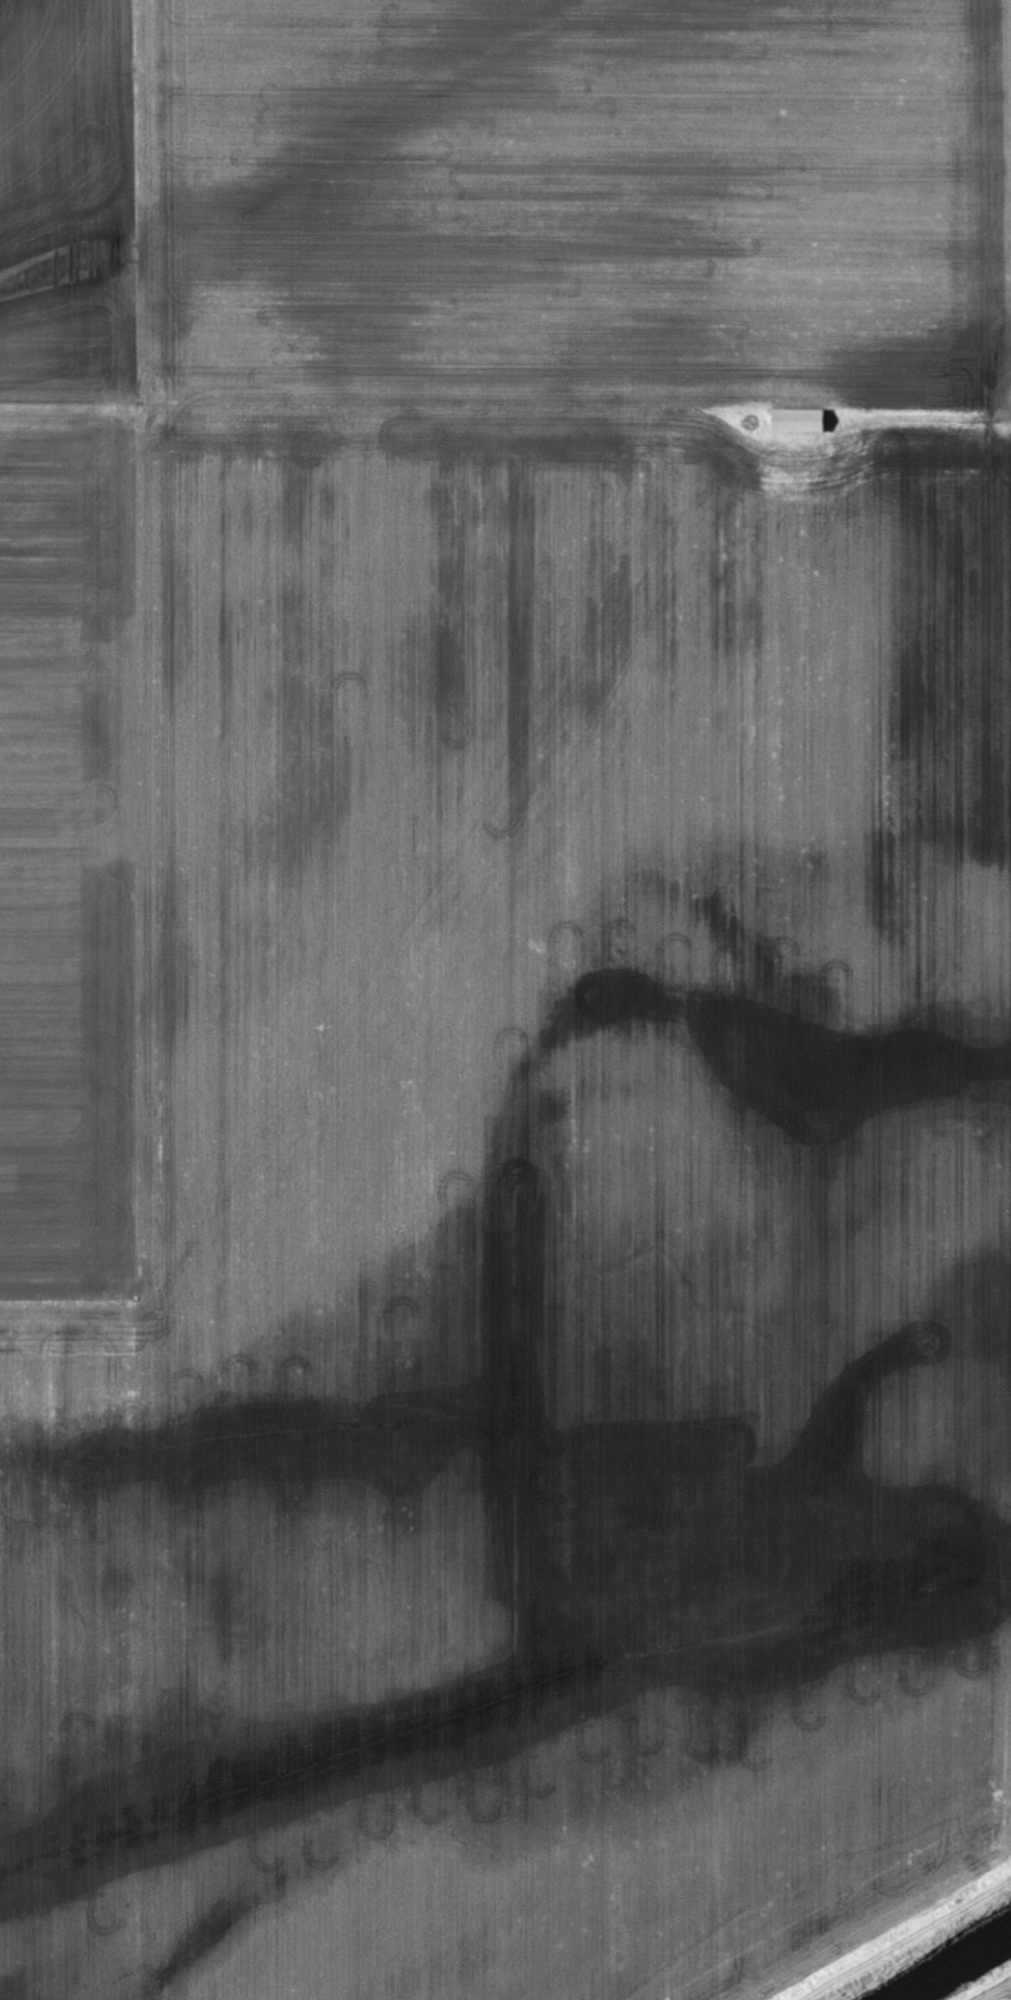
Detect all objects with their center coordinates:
building: (806, 422)

